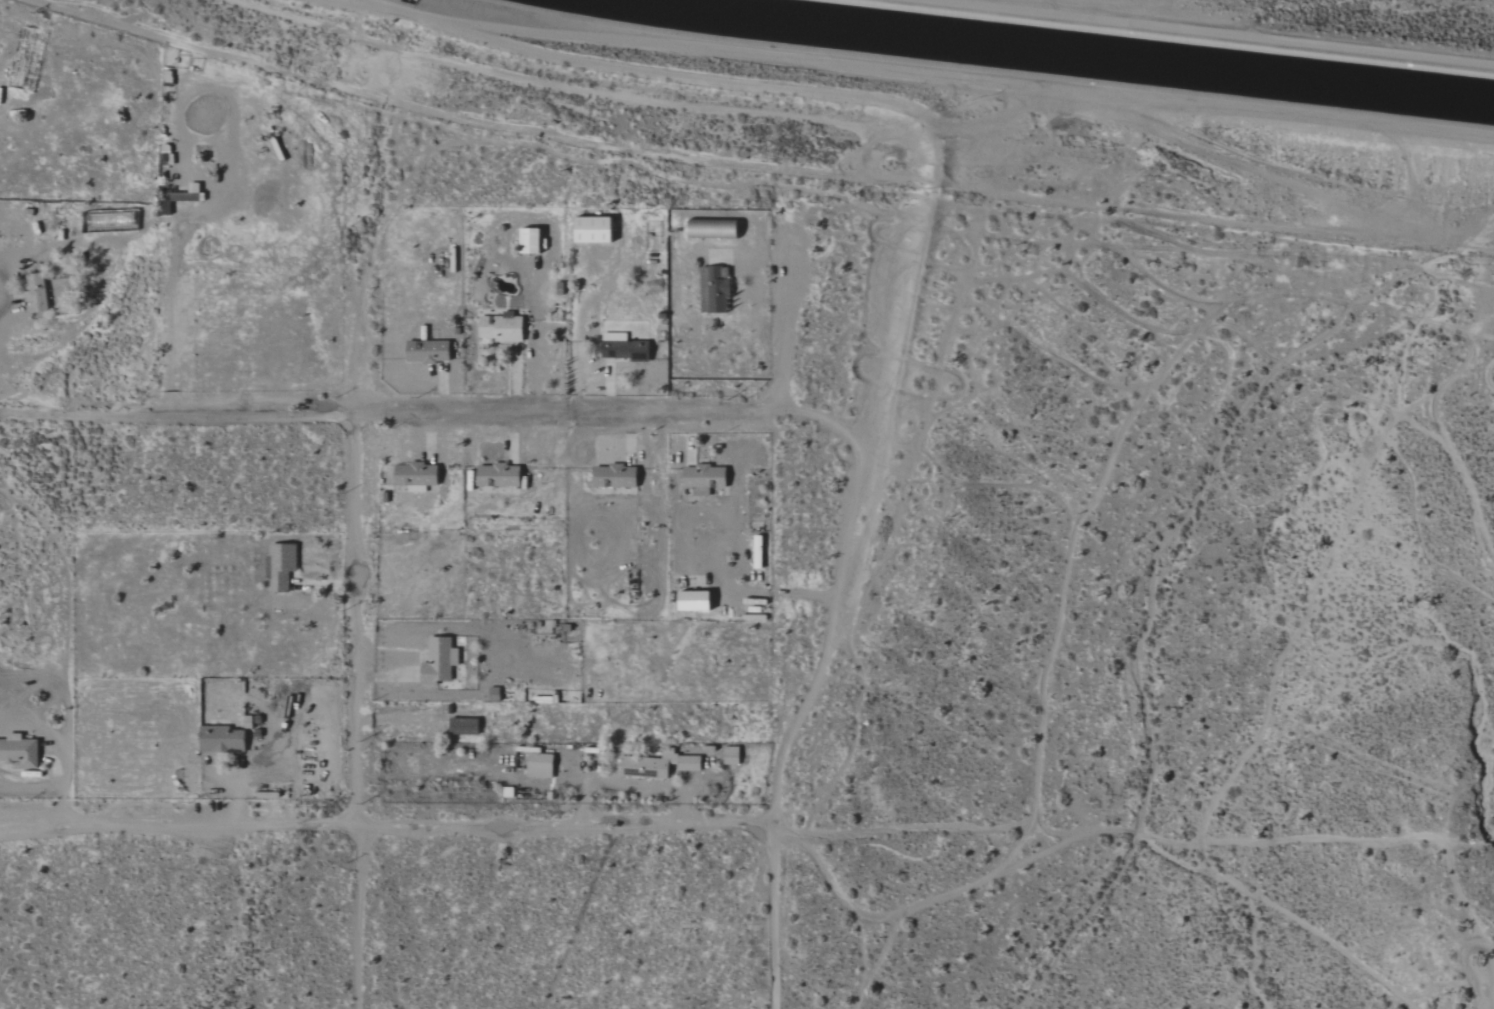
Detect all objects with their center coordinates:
road: (409, 1)
road: (379, 4)
road: (409, 8)
road: (405, 25)
road: (1215, 35)
road: (956, 82)
building: (714, 229)
building: (595, 231)
building: (532, 242)
road: (1, 277)
building: (714, 290)
building: (38, 294)
building: (503, 328)
road: (777, 331)
building: (429, 351)
road: (390, 416)
building: (500, 475)
building: (417, 476)
building: (617, 476)
building: (705, 478)
building: (280, 568)
road: (834, 598)
building: (697, 601)
building: (440, 661)
road: (357, 712)
building: (465, 726)
building: (223, 739)
building: (20, 751)
building: (732, 756)
building: (541, 766)
road: (386, 829)
road: (774, 918)

